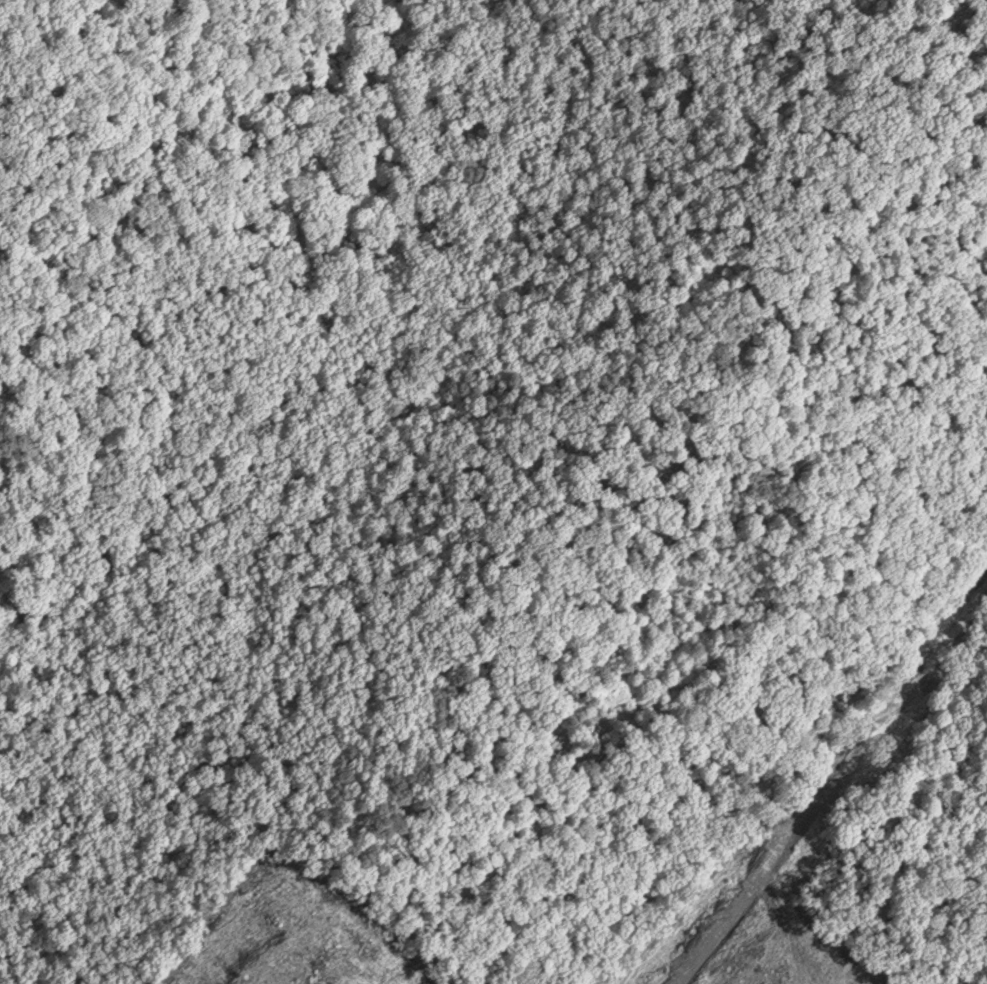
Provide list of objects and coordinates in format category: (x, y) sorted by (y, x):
road: (821, 771)

